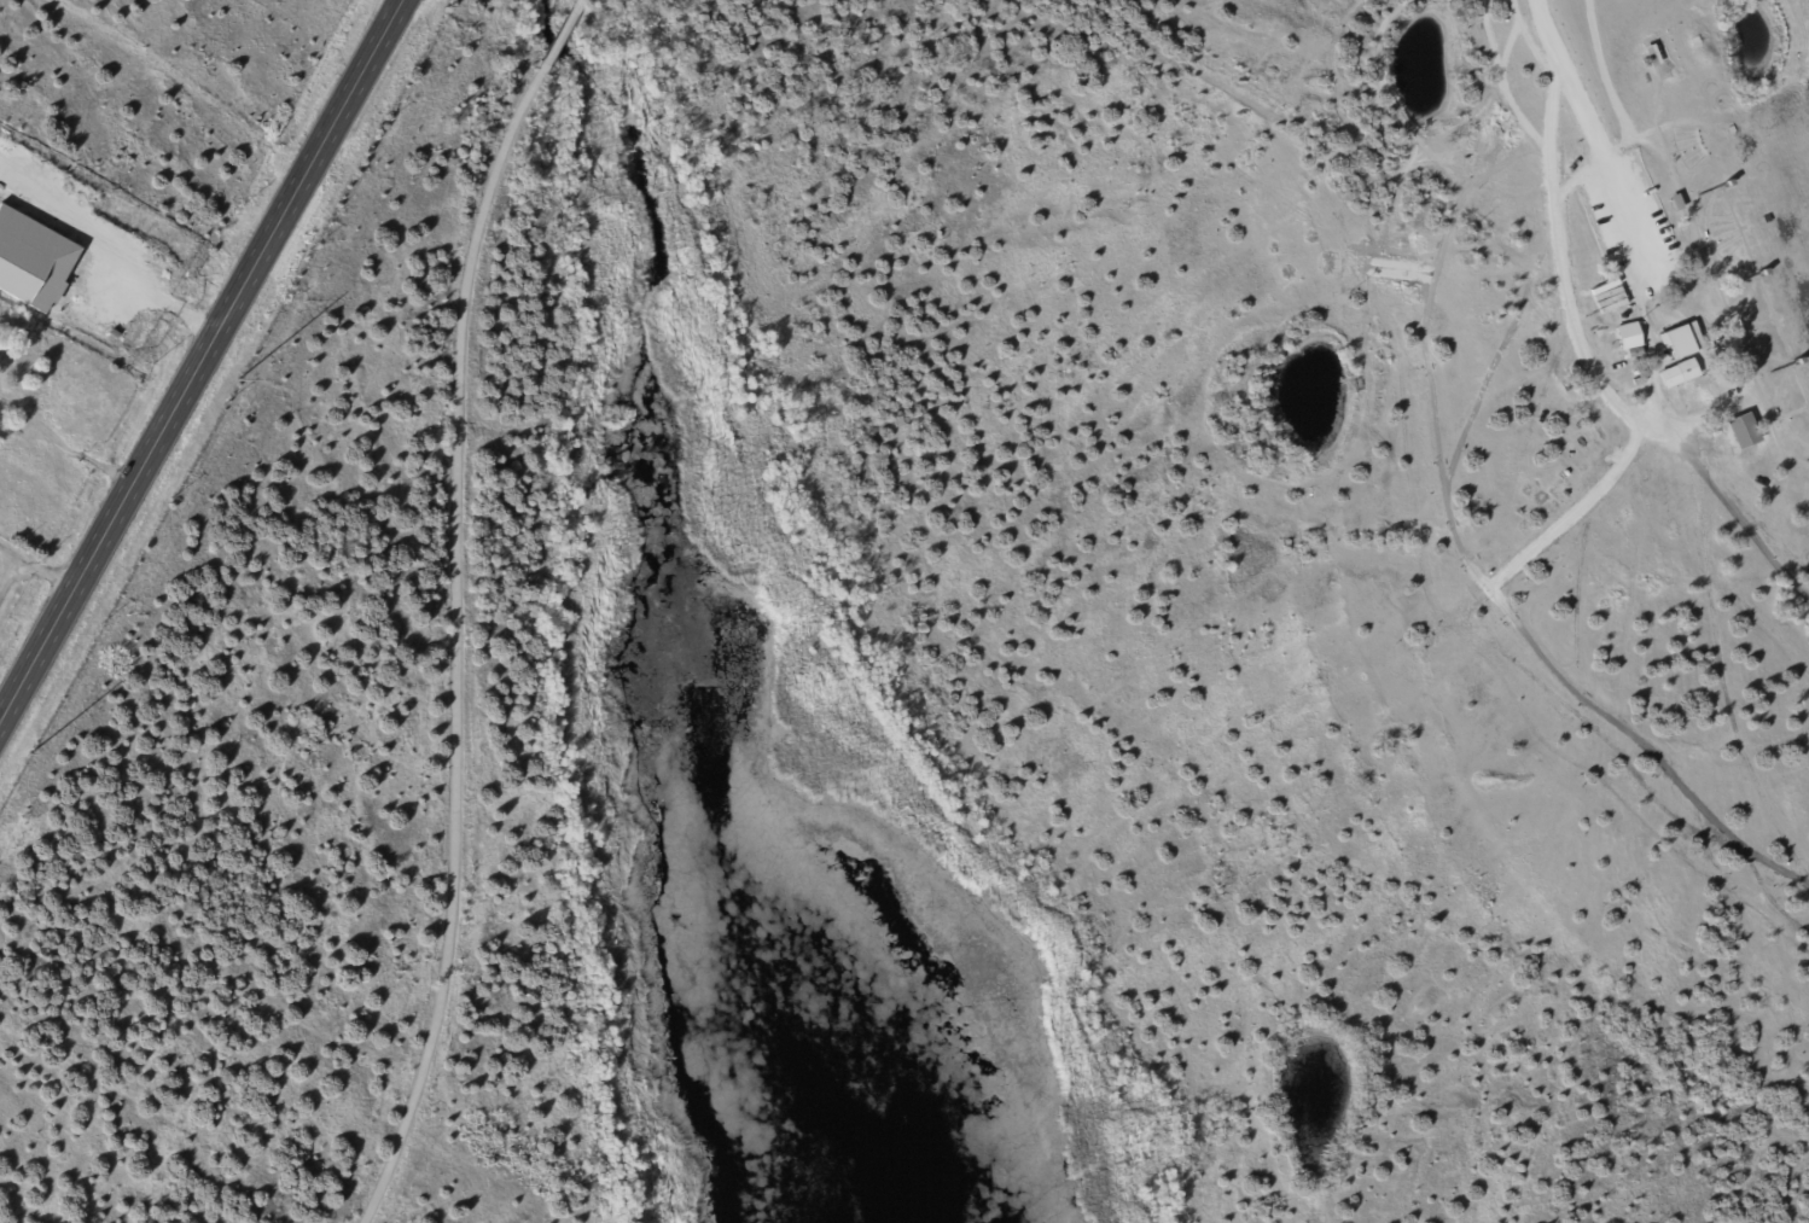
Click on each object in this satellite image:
building: (1650, 57)
road: (1589, 133)
building: (1675, 203)
building: (1631, 338)
building: (1681, 340)
road: (1583, 342)
road: (196, 353)
building: (1634, 354)
building: (1686, 371)
building: (1743, 432)
road: (33, 567)
road: (7, 573)
road: (454, 606)

